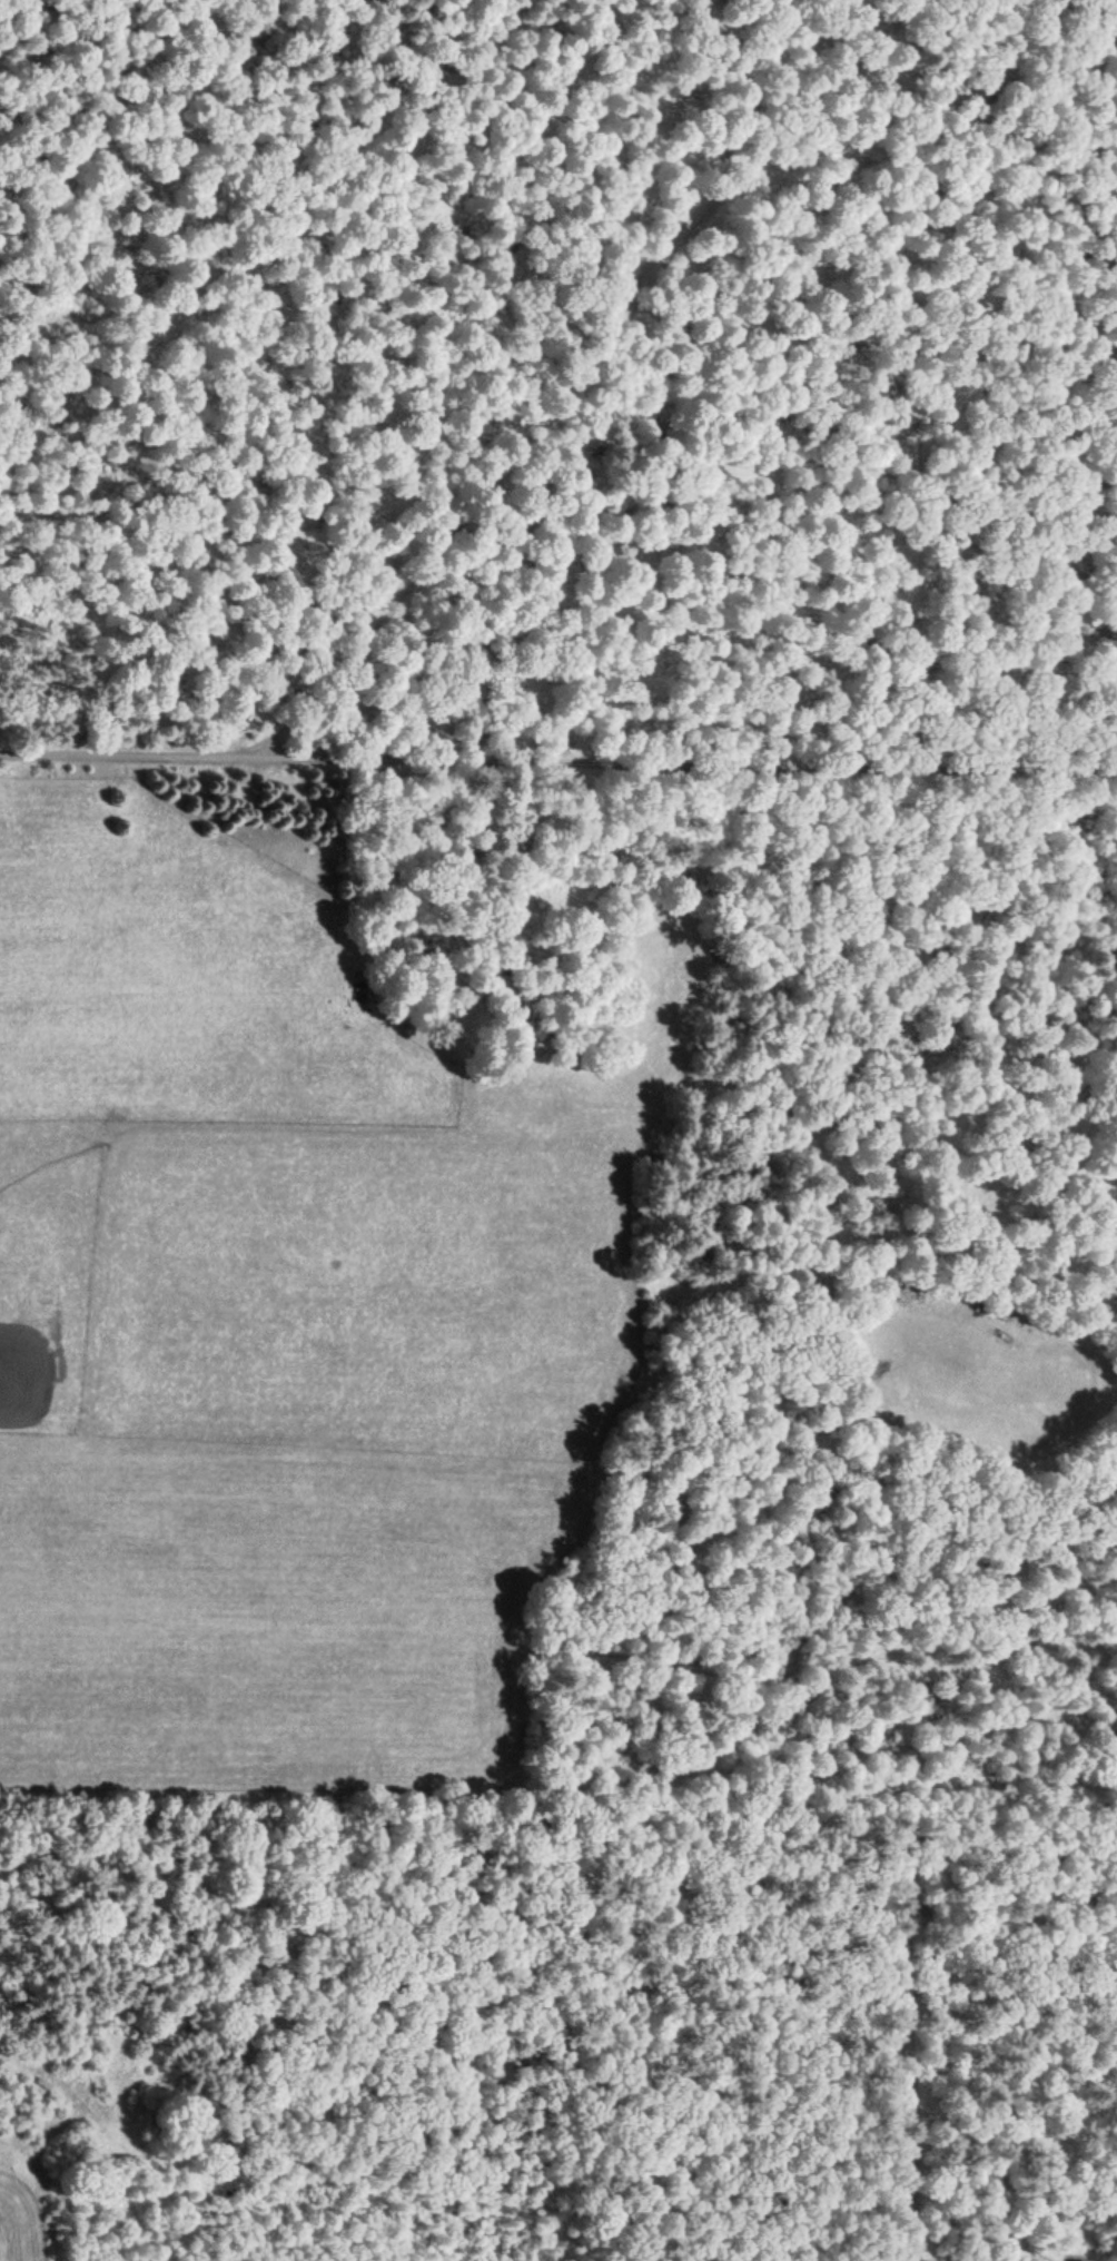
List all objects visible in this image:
road: (558, 769)

